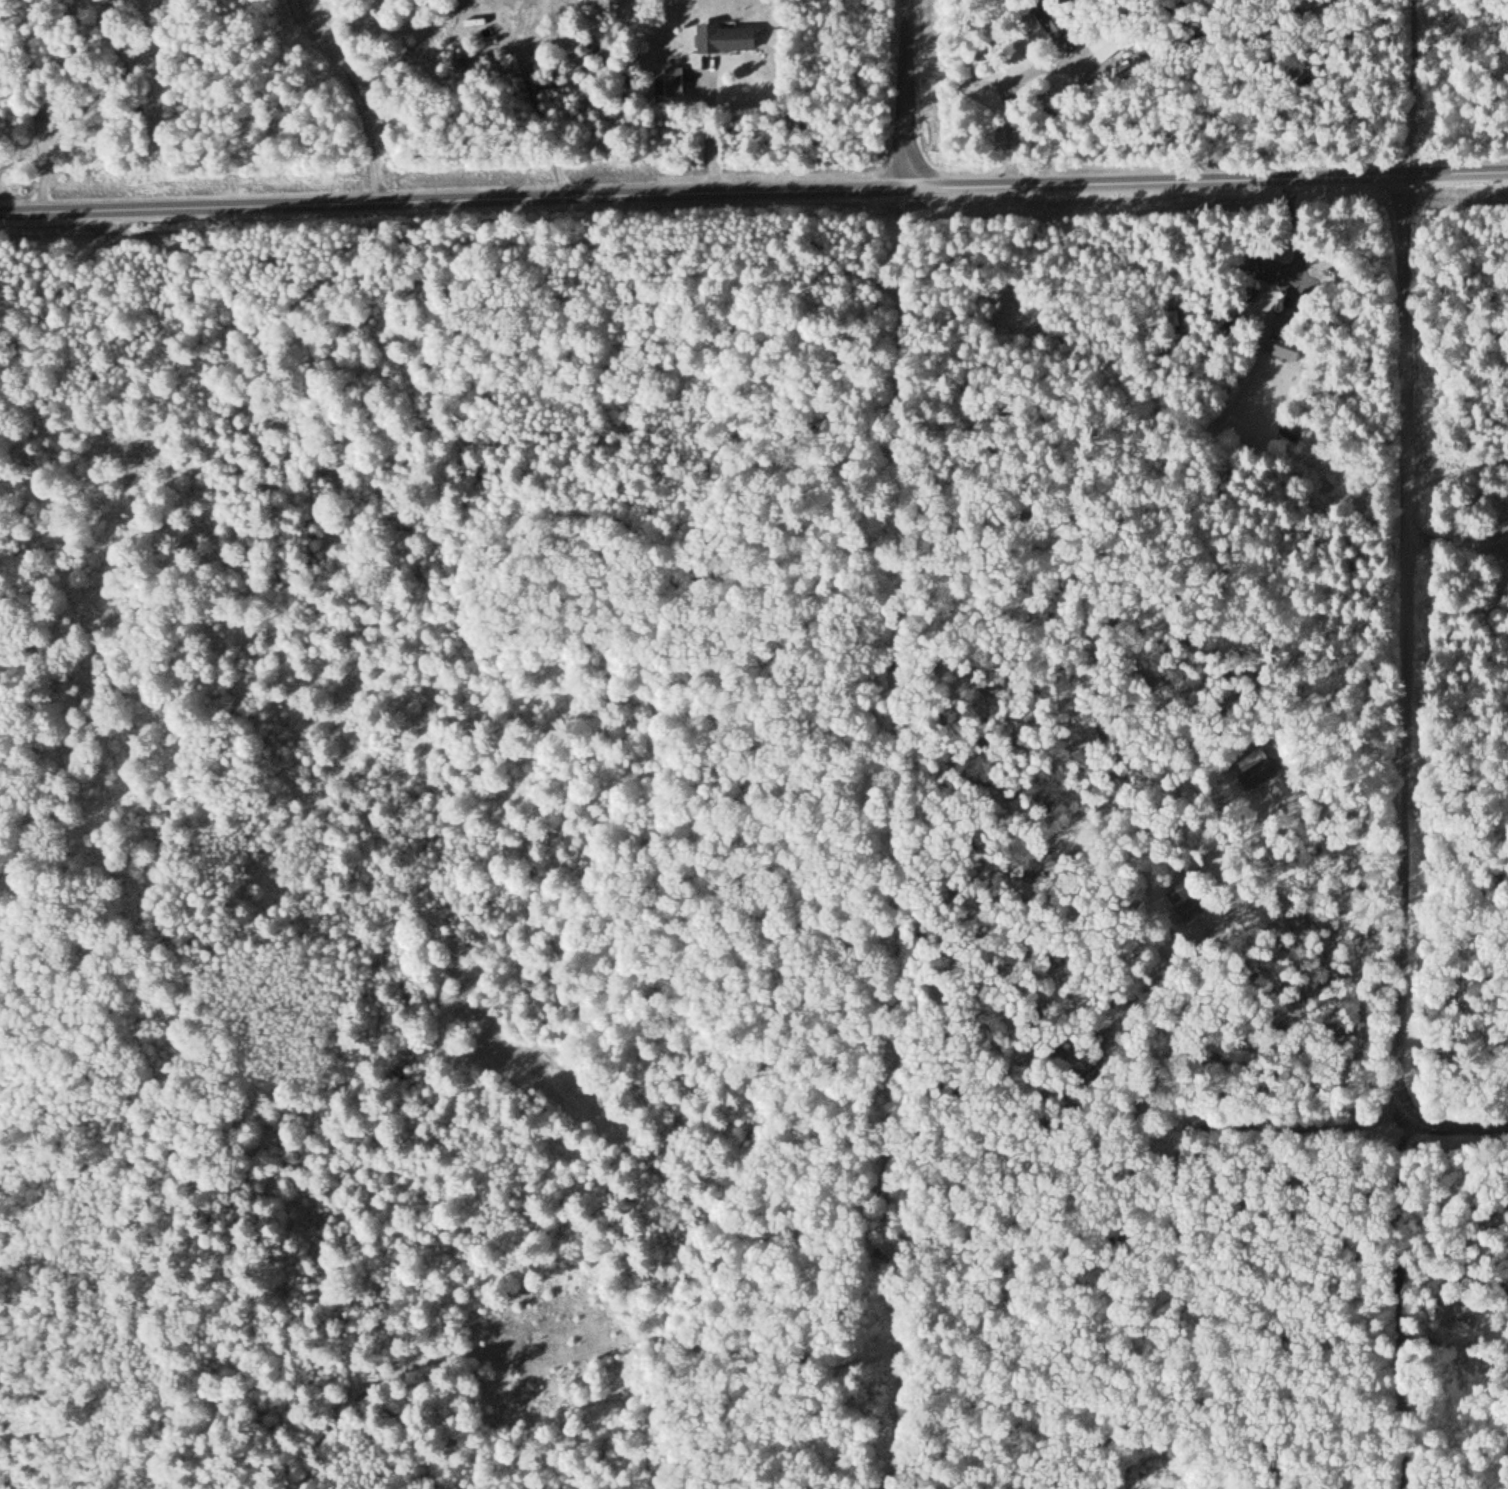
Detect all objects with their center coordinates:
building: (732, 39)
building: (1101, 47)
building: (679, 82)
road: (907, 95)
road: (1207, 182)
road: (453, 203)
building: (1263, 269)
building: (1282, 349)
road: (1408, 651)
building: (1250, 776)
road: (1454, 1124)

